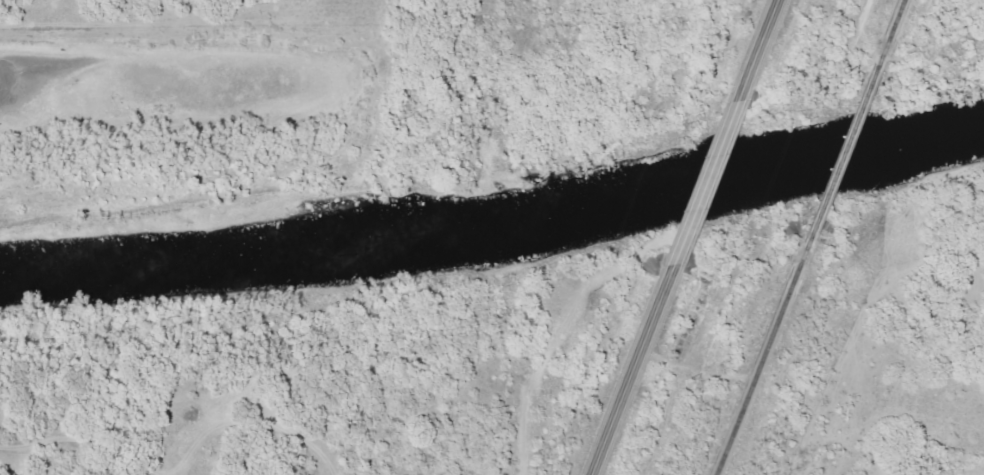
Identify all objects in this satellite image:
railway: (886, 30)
road: (258, 45)
road: (758, 50)
power plant: (889, 58)
railway: (840, 148)
road: (700, 188)
railway: (760, 356)
road: (631, 375)

